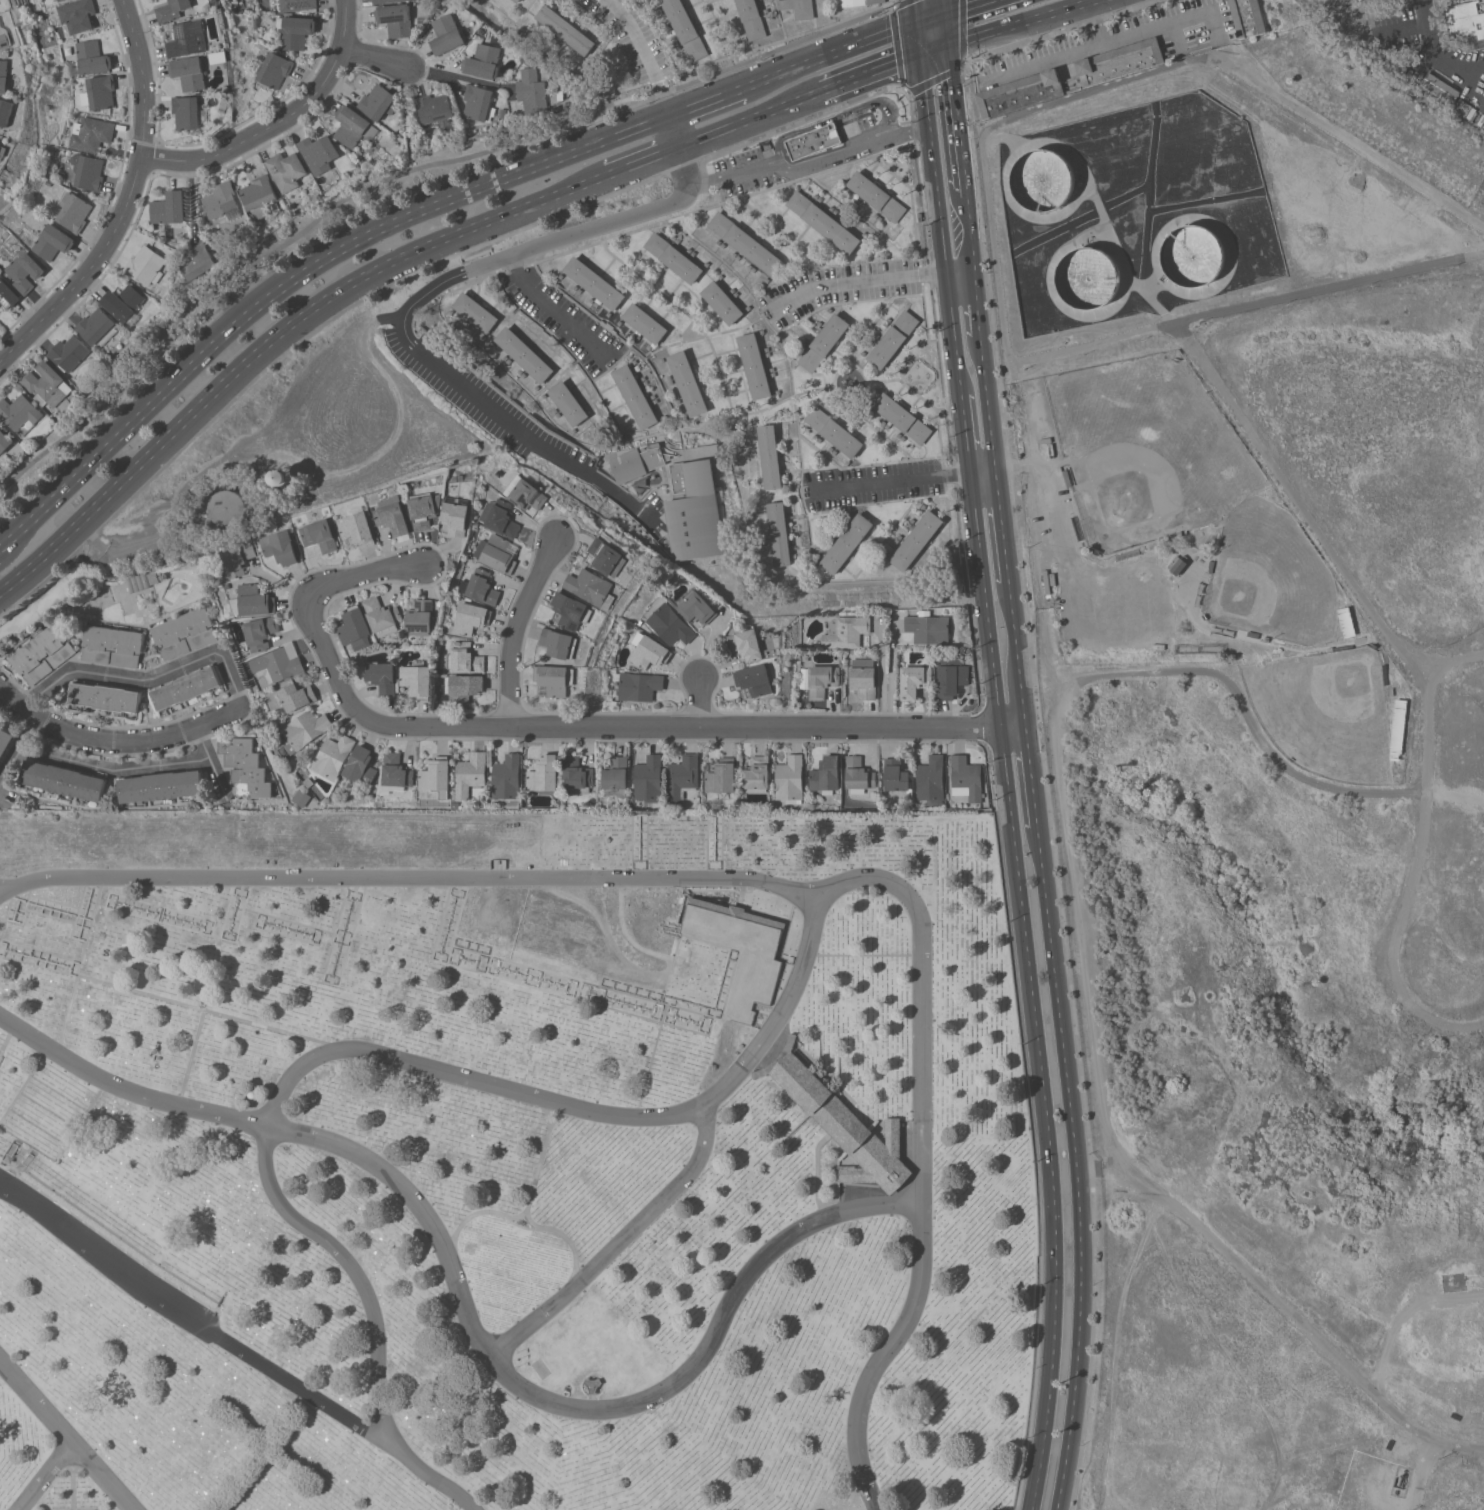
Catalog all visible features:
building: (60, 0)
building: (517, 0)
building: (377, 1)
building: (858, 2)
building: (297, 4)
road: (942, 6)
road: (964, 6)
building: (798, 8)
building: (172, 10)
road: (915, 11)
traffic signals: (943, 12)
building: (78, 15)
road: (930, 17)
building: (1247, 17)
building: (396, 19)
building: (751, 19)
building: (1467, 21)
traffic signals: (917, 22)
road: (1021, 23)
building: (685, 28)
building: (565, 29)
road: (944, 29)
road: (1142, 30)
building: (297, 31)
building: (447, 34)
building: (5, 36)
parking lot: (632, 37)
building: (188, 38)
road: (918, 39)
road: (1221, 44)
traffic signals: (946, 46)
road: (933, 51)
road: (646, 53)
road: (1435, 54)
road: (829, 56)
traffic signals: (920, 56)
building: (92, 57)
road: (374, 57)
building: (484, 61)
road: (1046, 61)
building: (1120, 62)
building: (275, 70)
building: (191, 73)
road: (871, 73)
road: (454, 75)
building: (5, 76)
road: (1135, 77)
building: (1437, 88)
building: (100, 92)
building: (532, 92)
building: (1019, 93)
building: (378, 102)
building: (478, 103)
road: (706, 103)
building: (435, 109)
building: (1465, 109)
building: (7, 111)
building: (187, 112)
road: (846, 113)
road: (752, 118)
road: (278, 119)
road: (956, 120)
building: (353, 126)
road: (676, 131)
building: (91, 134)
building: (814, 141)
building: (1, 148)
building: (319, 153)
road: (644, 160)
road: (805, 166)
building: (286, 170)
parking lot: (742, 170)
building: (88, 171)
road: (683, 171)
storage tank: (1043, 179)
building: (259, 195)
building: (876, 195)
road: (127, 199)
building: (222, 201)
building: (169, 208)
building: (74, 212)
building: (824, 222)
road: (940, 226)
road: (970, 233)
building: (53, 242)
building: (745, 243)
storage tank: (1193, 254)
building: (674, 257)
building: (198, 261)
building: (1088, 264)
building: (145, 266)
building: (25, 272)
road: (298, 278)
storage tank: (1088, 278)
road: (873, 281)
building: (594, 282)
parking lot: (839, 287)
building: (8, 294)
building: (123, 302)
building: (723, 302)
road: (1245, 304)
road: (977, 305)
road: (553, 310)
building: (476, 312)
parking lot: (564, 320)
road: (399, 322)
building: (646, 323)
building: (95, 325)
building: (893, 339)
road: (274, 340)
building: (824, 342)
building: (68, 354)
building: (524, 354)
building: (754, 365)
building: (688, 383)
building: (47, 385)
building: (635, 396)
building: (568, 403)
road: (986, 405)
building: (19, 414)
building: (903, 417)
building: (834, 432)
road: (966, 436)
building: (5, 441)
park: (1147, 449)
building: (770, 456)
building: (638, 462)
building: (282, 477)
water tower: (284, 477)
road: (905, 482)
parking lot: (875, 484)
building: (526, 493)
storage tank: (231, 507)
building: (230, 508)
building: (425, 509)
building: (695, 511)
building: (457, 515)
building: (393, 518)
building: (500, 518)
road: (1002, 525)
road: (1314, 525)
building: (356, 529)
building: (779, 534)
building: (319, 535)
building: (917, 540)
road: (1059, 541)
building: (847, 543)
building: (280, 547)
building: (496, 553)
building: (608, 557)
building: (238, 559)
building: (1177, 565)
park: (1269, 575)
building: (142, 581)
road: (347, 581)
parking lot: (1091, 583)
building: (480, 587)
building: (592, 587)
building: (253, 601)
building: (697, 608)
building: (572, 611)
building: (382, 616)
building: (470, 617)
building: (420, 618)
building: (670, 625)
road: (512, 627)
building: (355, 628)
building: (929, 629)
building: (184, 632)
building: (846, 632)
building: (261, 633)
building: (559, 643)
building: (746, 644)
building: (113, 645)
road: (1016, 651)
building: (650, 652)
building: (43, 654)
building: (465, 658)
building: (278, 663)
road: (1099, 673)
building: (952, 676)
building: (382, 677)
building: (864, 678)
road: (883, 678)
building: (555, 679)
building: (755, 679)
road: (891, 679)
building: (822, 680)
building: (417, 681)
building: (914, 681)
building: (639, 686)
road: (236, 687)
building: (187, 688)
building: (460, 689)
building: (106, 697)
building: (295, 697)
road: (11, 700)
road: (698, 702)
park: (1325, 712)
road: (643, 727)
building: (303, 732)
building: (5, 741)
road: (17, 752)
building: (333, 756)
road: (211, 762)
building: (361, 765)
building: (245, 767)
road: (113, 768)
building: (397, 771)
building: (470, 773)
building: (757, 774)
road: (1031, 774)
building: (544, 775)
building: (577, 775)
building: (826, 775)
building: (858, 775)
building: (437, 776)
building: (616, 776)
building: (722, 776)
building: (507, 777)
building: (682, 777)
building: (897, 777)
building: (966, 778)
building: (648, 779)
building: (790, 779)
building: (64, 780)
building: (931, 780)
building: (162, 786)
road: (1456, 797)
building: (302, 798)
road: (405, 876)
road: (1395, 937)
road: (1030, 992)
road: (587, 1109)
building: (843, 1123)
building: (9, 1153)
road: (922, 1156)
park: (513, 1165)
road: (1076, 1167)
building: (114, 1234)
road: (619, 1241)
road: (1266, 1294)
road: (465, 1314)
road: (373, 1317)
road: (192, 1319)
building: (593, 1384)
road: (66, 1435)
road: (1422, 1473)
road: (46, 1475)

